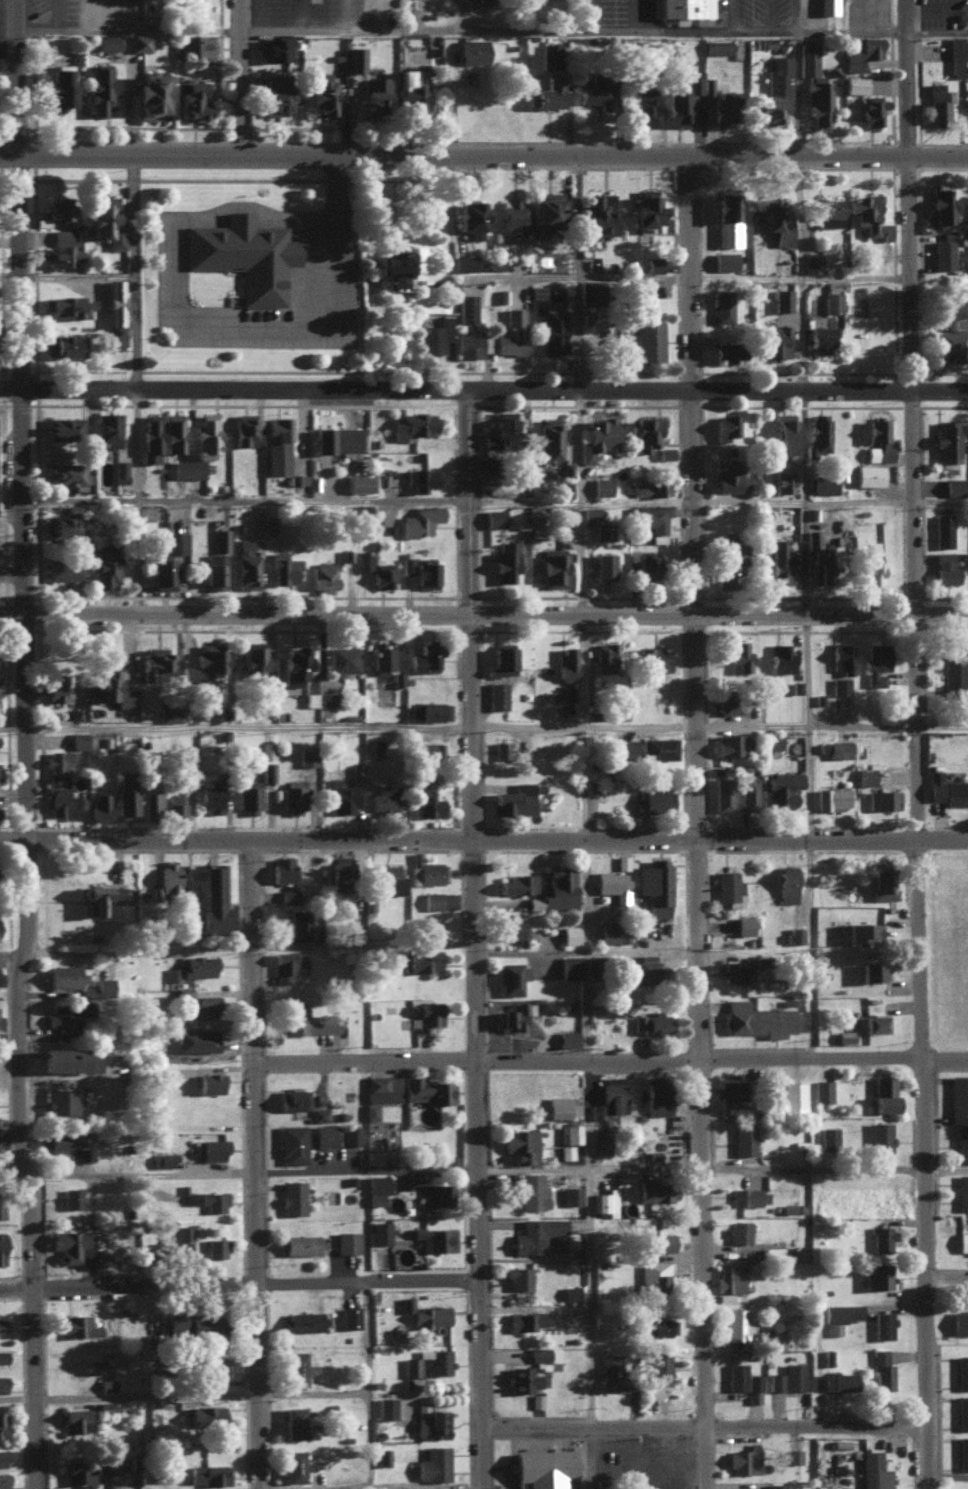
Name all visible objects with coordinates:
building: (483, 1)
building: (827, 6)
building: (685, 10)
road: (344, 15)
road: (592, 16)
road: (633, 16)
road: (733, 16)
road: (771, 17)
road: (8, 27)
road: (492, 31)
building: (107, 41)
building: (140, 41)
building: (197, 44)
building: (717, 47)
building: (273, 48)
building: (967, 48)
building: (472, 50)
building: (862, 51)
building: (549, 55)
building: (956, 56)
building: (355, 58)
road: (461, 75)
road: (17, 76)
road: (250, 76)
road: (914, 77)
building: (854, 83)
building: (56, 86)
building: (708, 86)
building: (814, 86)
building: (100, 89)
building: (775, 89)
building: (595, 90)
building: (273, 92)
building: (546, 93)
building: (322, 94)
building: (410, 94)
building: (374, 95)
building: (149, 96)
building: (681, 99)
building: (190, 100)
building: (937, 102)
building: (643, 106)
building: (721, 106)
building: (871, 109)
road: (484, 154)
building: (941, 204)
building: (56, 208)
building: (646, 208)
building: (546, 209)
road: (798, 211)
building: (827, 211)
building: (599, 213)
building: (868, 215)
building: (468, 217)
building: (728, 218)
building: (776, 219)
building: (104, 222)
building: (61, 250)
building: (244, 254)
building: (942, 254)
building: (725, 260)
building: (463, 262)
building: (811, 262)
building: (653, 264)
building: (394, 268)
road: (461, 270)
road: (859, 276)
road: (13, 277)
building: (536, 291)
building: (590, 291)
building: (782, 299)
building: (832, 301)
building: (68, 306)
building: (722, 306)
building: (466, 307)
road: (132, 309)
building: (115, 311)
building: (958, 323)
road: (918, 328)
road: (223, 329)
building: (551, 331)
building: (511, 332)
building: (435, 335)
building: (820, 339)
building: (646, 340)
building: (775, 341)
building: (947, 342)
building: (66, 345)
building: (472, 345)
building: (728, 351)
road: (484, 386)
building: (412, 424)
building: (726, 426)
building: (63, 427)
building: (108, 428)
building: (244, 429)
building: (500, 431)
building: (174, 432)
building: (818, 432)
building: (647, 433)
building: (786, 433)
building: (206, 435)
building: (151, 437)
building: (549, 437)
building: (596, 437)
building: (879, 438)
building: (336, 439)
building: (947, 440)
building: (277, 445)
building: (665, 453)
building: (188, 468)
building: (567, 468)
building: (119, 471)
building: (66, 474)
building: (868, 474)
building: (420, 478)
building: (731, 479)
building: (782, 481)
building: (358, 483)
building: (824, 483)
building: (601, 486)
building: (953, 486)
building: (653, 489)
road: (30, 497)
road: (476, 499)
road: (802, 503)
building: (590, 512)
building: (567, 516)
building: (494, 517)
building: (653, 519)
building: (420, 520)
building: (63, 526)
building: (603, 530)
building: (943, 530)
building: (220, 540)
building: (177, 542)
building: (730, 558)
building: (819, 558)
building: (964, 559)
building: (505, 560)
building: (363, 562)
building: (780, 562)
building: (644, 563)
building: (246, 565)
building: (406, 565)
building: (105, 566)
building: (603, 566)
building: (553, 567)
building: (945, 567)
building: (64, 568)
building: (283, 568)
building: (870, 569)
building: (214, 571)
road: (12, 573)
building: (381, 573)
building: (426, 573)
building: (161, 574)
building: (322, 577)
road: (590, 607)
road: (483, 615)
building: (739, 656)
building: (385, 657)
building: (425, 657)
building: (604, 657)
building: (781, 657)
building: (841, 657)
building: (342, 658)
building: (250, 659)
building: (651, 659)
building: (502, 661)
building: (204, 662)
building: (293, 662)
building: (565, 663)
building: (876, 663)
building: (156, 664)
building: (953, 667)
building: (840, 685)
building: (55, 687)
building: (112, 689)
building: (568, 691)
building: (496, 695)
building: (317, 698)
building: (727, 702)
building: (428, 710)
building: (168, 714)
road: (233, 726)
road: (718, 727)
building: (78, 739)
building: (772, 740)
building: (730, 743)
building: (623, 747)
building: (658, 747)
building: (427, 748)
building: (502, 748)
building: (839, 748)
building: (266, 749)
building: (306, 755)
building: (59, 759)
building: (356, 769)
building: (268, 770)
building: (866, 775)
road: (474, 778)
building: (780, 788)
building: (947, 788)
building: (340, 792)
building: (722, 792)
building: (748, 792)
building: (126, 794)
building: (210, 795)
building: (250, 795)
building: (293, 795)
building: (383, 796)
building: (831, 797)
building: (424, 798)
building: (883, 798)
building: (514, 799)
building: (653, 800)
building: (62, 801)
building: (151, 801)
building: (100, 805)
building: (174, 805)
road: (704, 821)
road: (807, 837)
road: (14, 841)
road: (498, 841)
building: (281, 867)
building: (426, 869)
building: (340, 873)
building: (168, 875)
building: (389, 877)
building: (517, 882)
building: (786, 882)
building: (883, 883)
building: (613, 884)
building: (655, 884)
building: (729, 887)
building: (556, 889)
building: (288, 895)
building: (99, 896)
building: (203, 896)
building: (432, 899)
building: (298, 922)
building: (743, 925)
building: (512, 928)
building: (862, 929)
building: (609, 931)
building: (569, 932)
building: (795, 933)
road: (241, 950)
road: (596, 957)
building: (420, 959)
building: (288, 964)
building: (198, 965)
building: (569, 965)
building: (647, 966)
building: (872, 969)
building: (733, 970)
building: (172, 973)
building: (65, 974)
building: (510, 976)
building: (103, 985)
building: (87, 990)
road: (930, 995)
building: (201, 1005)
building: (425, 1013)
building: (66, 1016)
building: (326, 1016)
building: (511, 1016)
building: (756, 1018)
building: (0, 1020)
building: (652, 1022)
building: (873, 1022)
building: (568, 1037)
building: (68, 1058)
road: (609, 1061)
building: (209, 1081)
building: (382, 1087)
building: (427, 1089)
building: (732, 1089)
building: (823, 1090)
building: (884, 1092)
building: (793, 1094)
building: (657, 1095)
building: (293, 1097)
building: (609, 1097)
building: (958, 1097)
building: (60, 1100)
building: (558, 1106)
building: (739, 1109)
building: (370, 1110)
building: (319, 1113)
building: (827, 1133)
building: (324, 1134)
building: (350, 1134)
building: (880, 1136)
building: (1, 1137)
building: (569, 1138)
building: (59, 1139)
building: (743, 1139)
building: (291, 1142)
building: (520, 1144)
building: (961, 1145)
building: (210, 1148)
building: (655, 1154)
building: (162, 1158)
road: (250, 1164)
road: (25, 1165)
road: (711, 1170)
road: (951, 1170)
road: (12, 1171)
road: (256, 1172)
building: (376, 1188)
building: (656, 1189)
building: (532, 1191)
building: (962, 1191)
building: (435, 1193)
building: (571, 1194)
building: (745, 1195)
building: (71, 1196)
building: (291, 1196)
building: (207, 1199)
building: (604, 1200)
building: (1, 1205)
road: (487, 1225)
building: (738, 1230)
building: (183, 1231)
building: (380, 1231)
building: (537, 1233)
building: (434, 1237)
building: (883, 1238)
building: (347, 1241)
building: (658, 1241)
building: (962, 1241)
building: (298, 1243)
building: (71, 1245)
building: (1, 1247)
building: (216, 1247)
building: (654, 1274)
building: (877, 1274)
road: (599, 1275)
building: (518, 1276)
building: (729, 1278)
road: (952, 1279)
road: (243, 1284)
building: (571, 1291)
building: (405, 1303)
building: (430, 1315)
building: (839, 1315)
building: (349, 1316)
building: (524, 1319)
building: (302, 1320)
building: (1, 1321)
building: (959, 1321)
building: (193, 1323)
building: (659, 1323)
building: (739, 1323)
building: (77, 1324)
building: (882, 1324)
road: (367, 1329)
building: (2, 1355)
building: (827, 1356)
building: (545, 1357)
building: (428, 1362)
building: (293, 1365)
building: (215, 1367)
building: (660, 1367)
building: (881, 1369)
building: (612, 1371)
building: (962, 1371)
building: (736, 1375)
building: (791, 1377)
building: (522, 1378)
building: (839, 1379)
building: (2, 1383)
building: (107, 1383)
road: (487, 1385)
building: (754, 1387)
road: (244, 1394)
building: (536, 1399)
building: (386, 1406)
building: (962, 1411)
building: (206, 1413)
building: (76, 1419)
building: (431, 1420)
building: (292, 1421)
building: (2, 1423)
road: (714, 1429)
building: (962, 1452)
building: (382, 1455)
building: (793, 1455)
building: (2, 1457)
building: (744, 1459)
building: (433, 1463)
building: (292, 1465)
building: (542, 1469)
building: (81, 1470)
building: (874, 1471)
building: (209, 1473)
road: (953, 1474)
building: (3, 1480)
building: (775, 1485)

